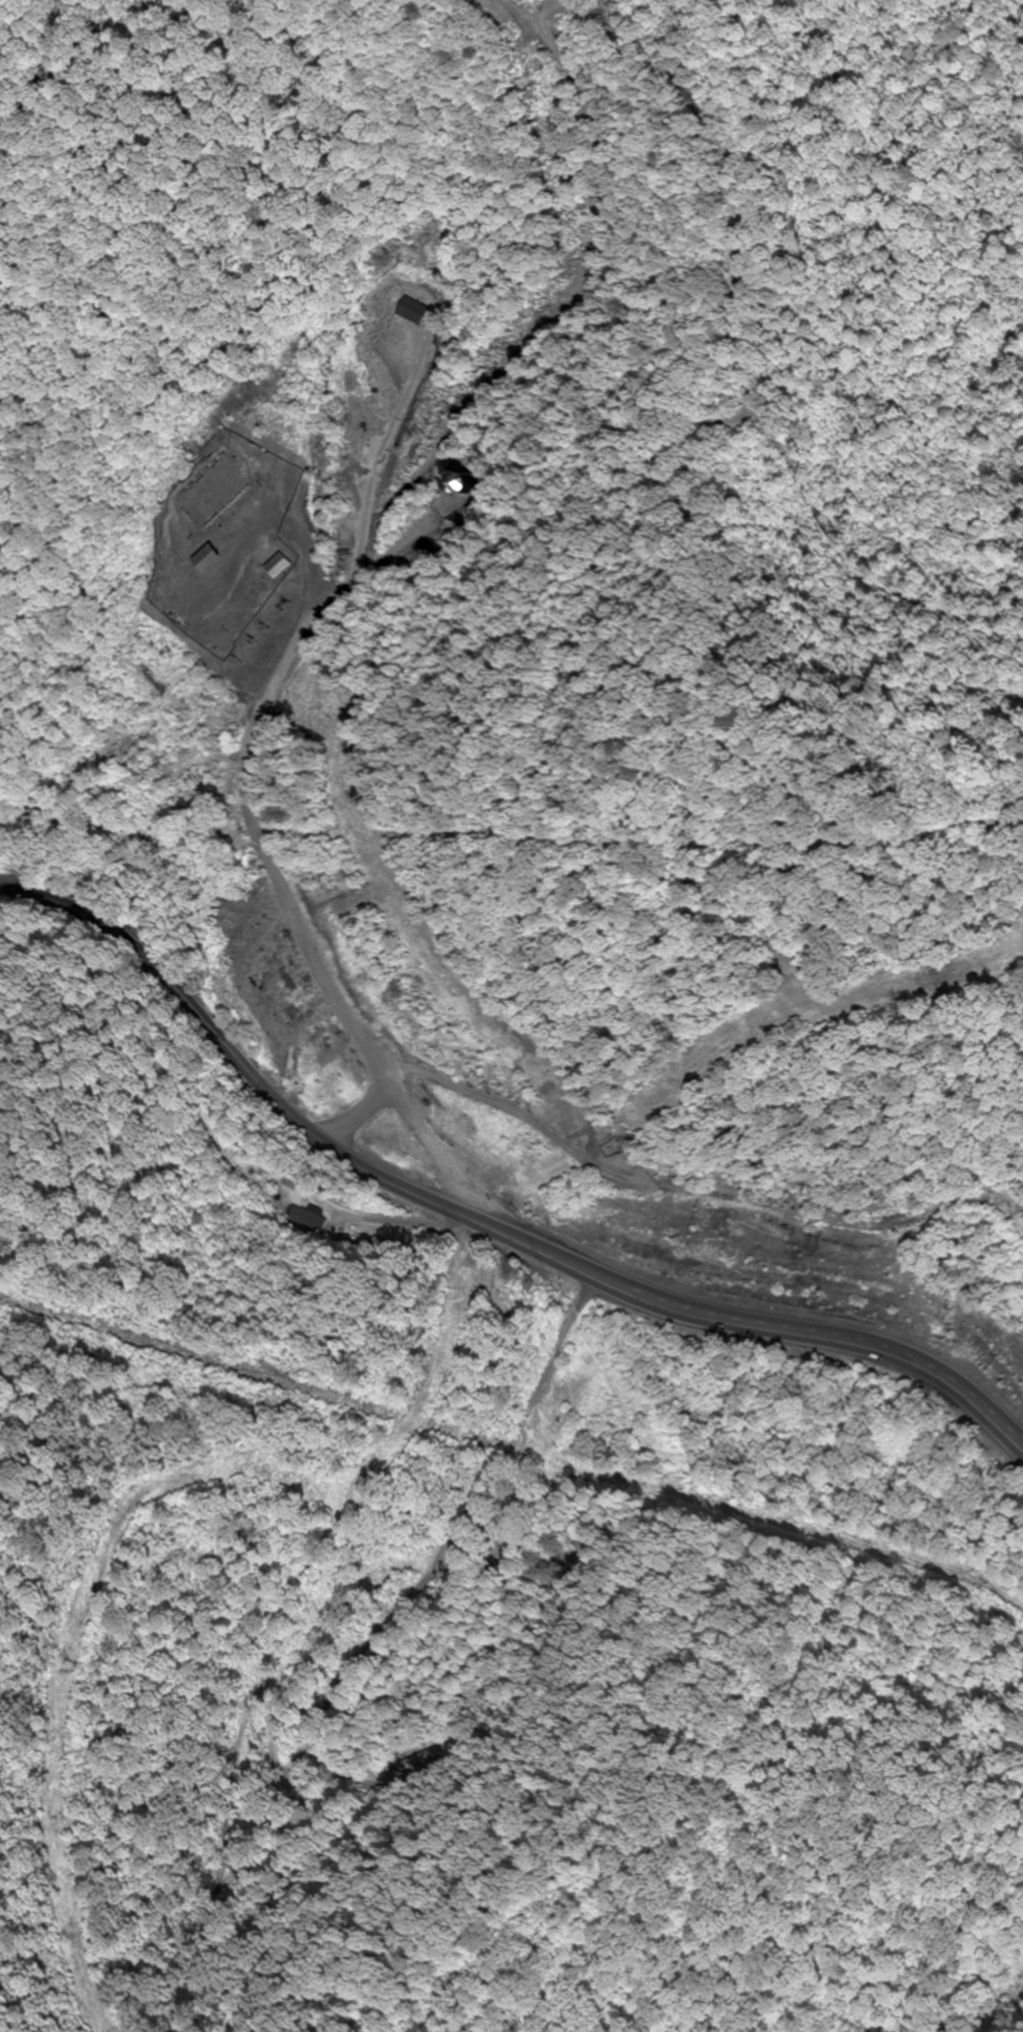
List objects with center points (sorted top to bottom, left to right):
building: (418, 311)
building: (227, 478)
building: (478, 482)
building: (219, 555)
building: (295, 566)
road: (500, 1114)
road: (482, 1227)
road: (565, 1330)
building: (552, 1403)

